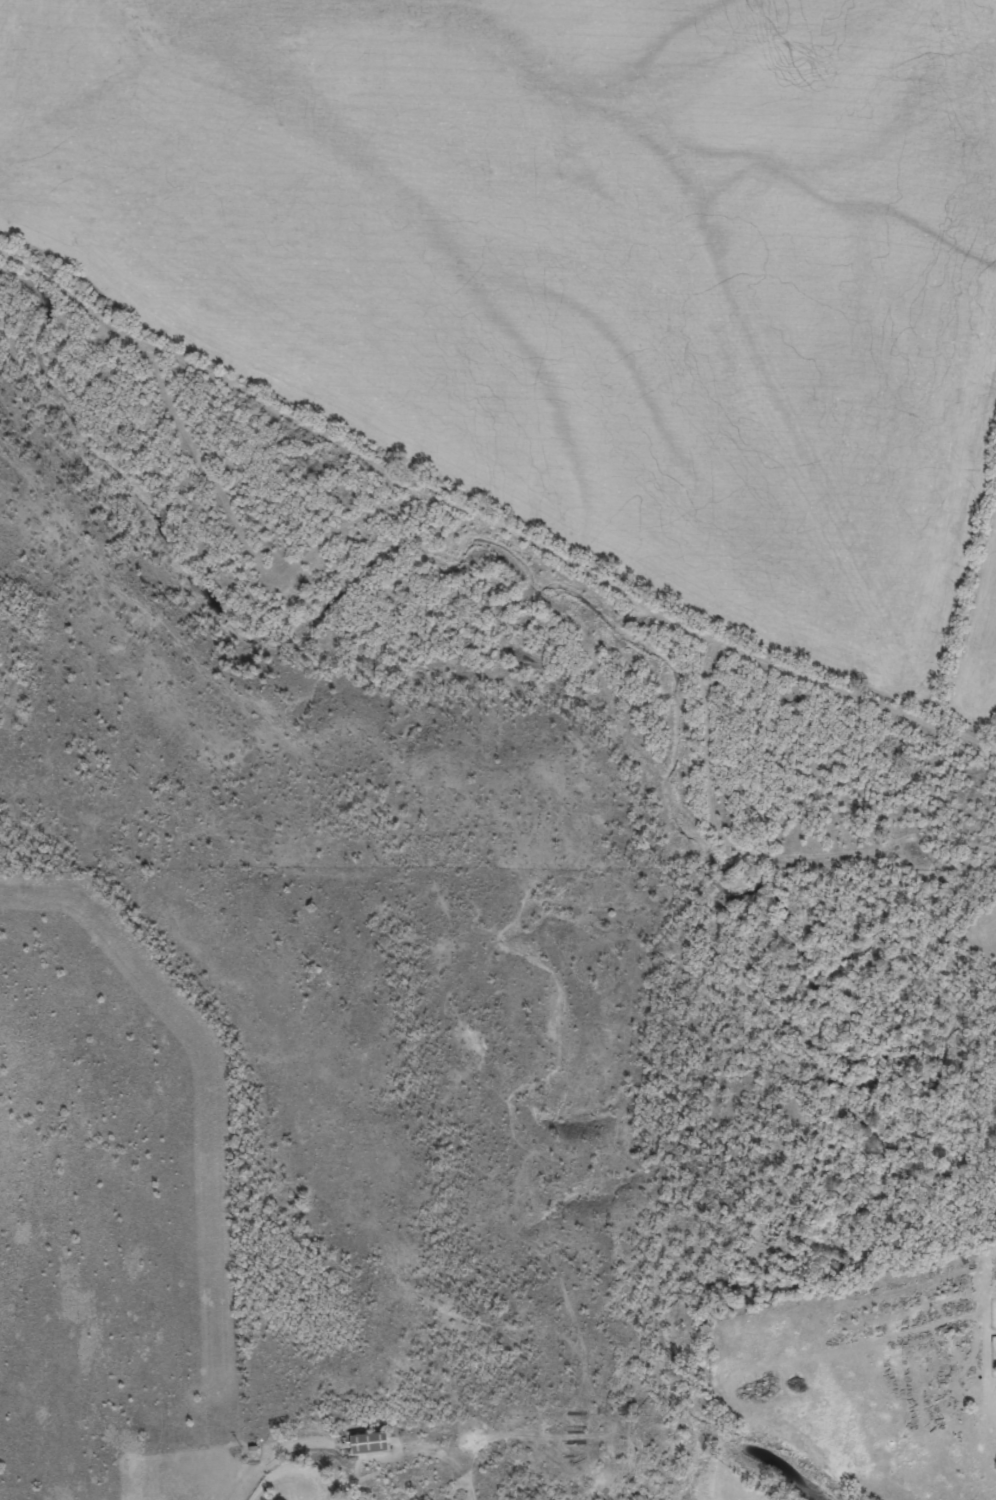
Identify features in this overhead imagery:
building: (370, 1441)

